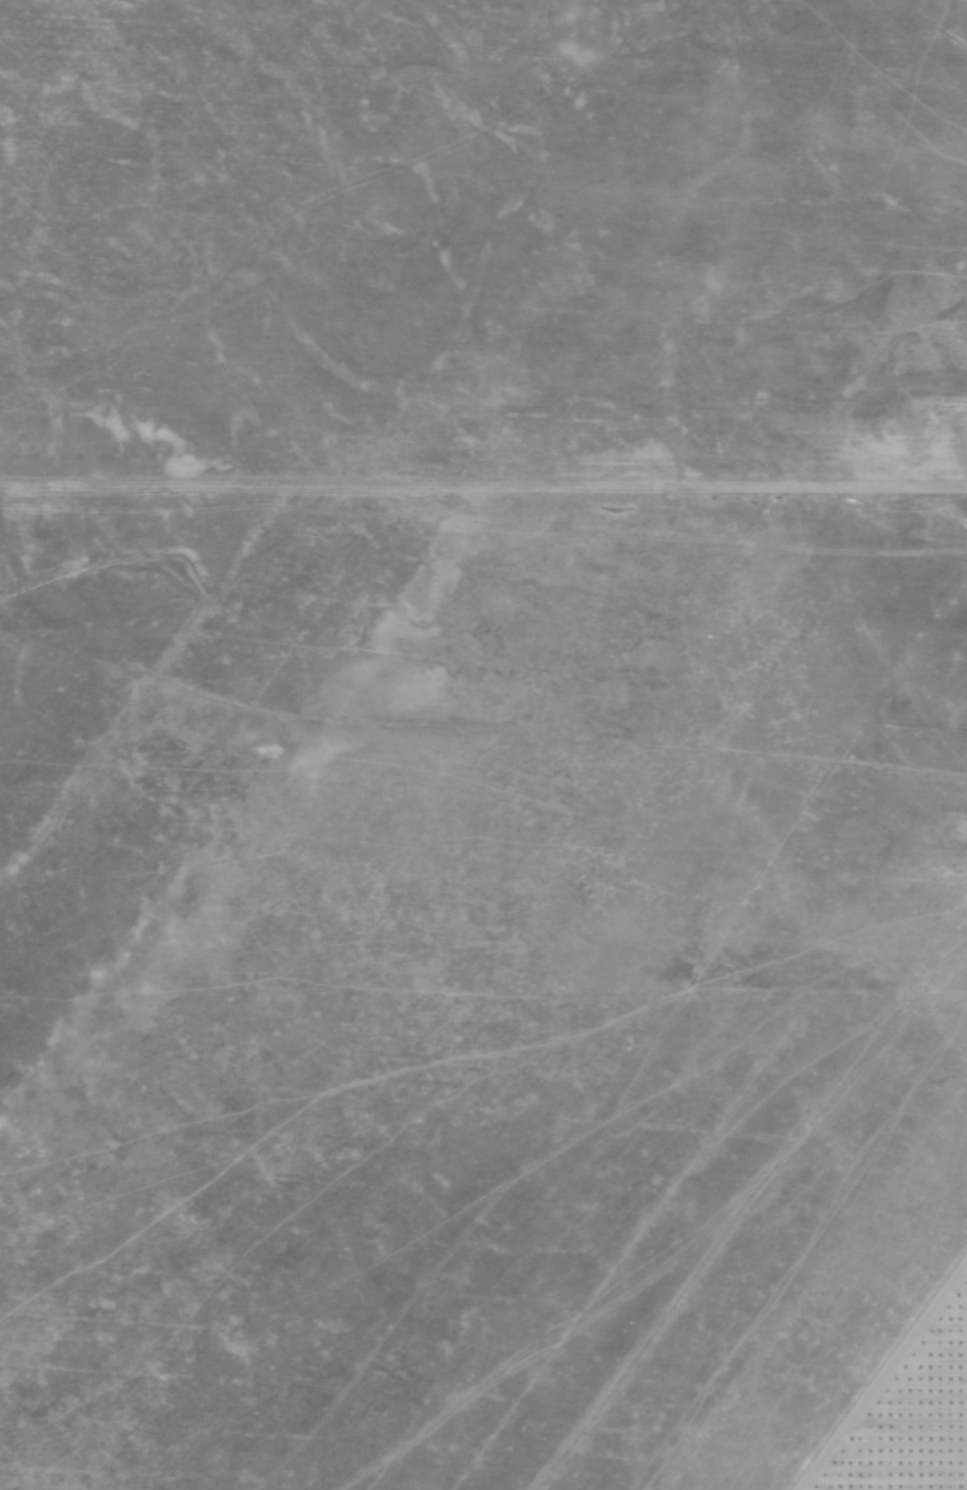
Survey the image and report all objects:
crop: (485, 236)
crop: (915, 1420)

